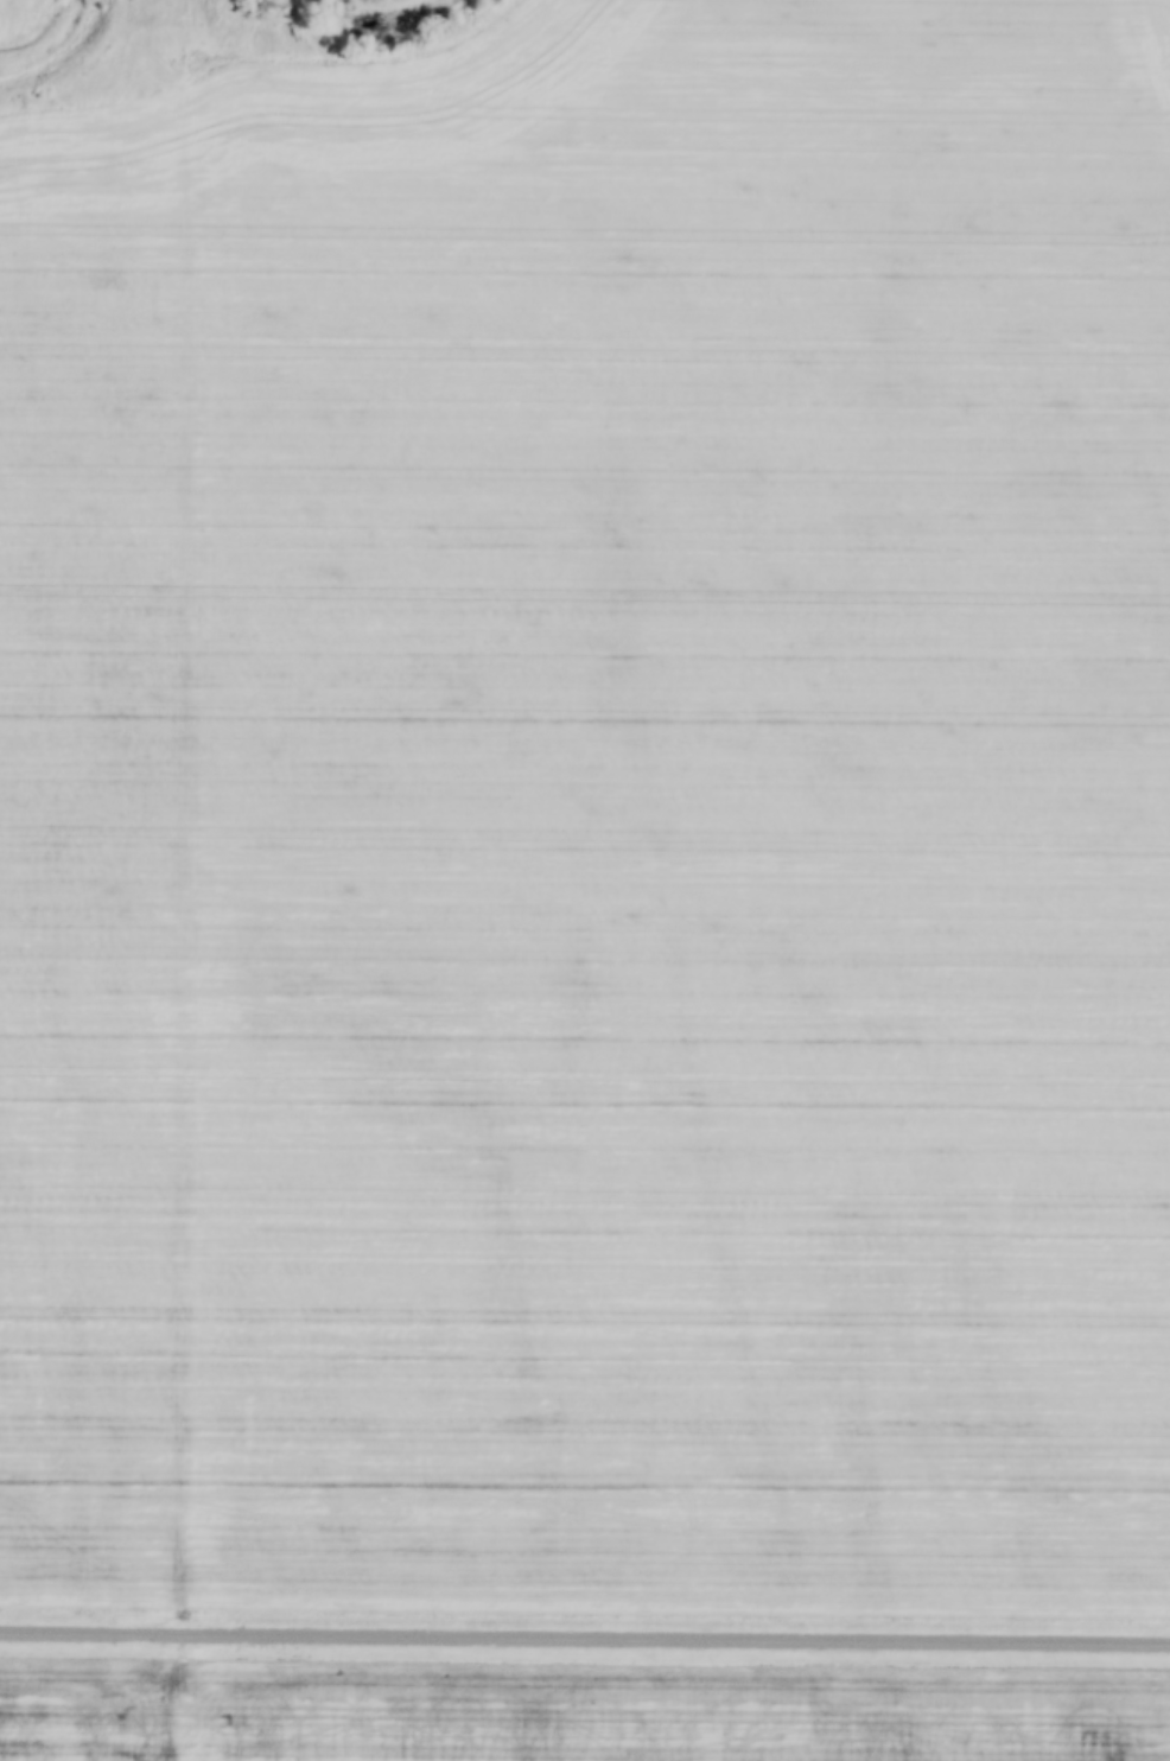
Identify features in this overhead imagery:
road: (585, 1640)

